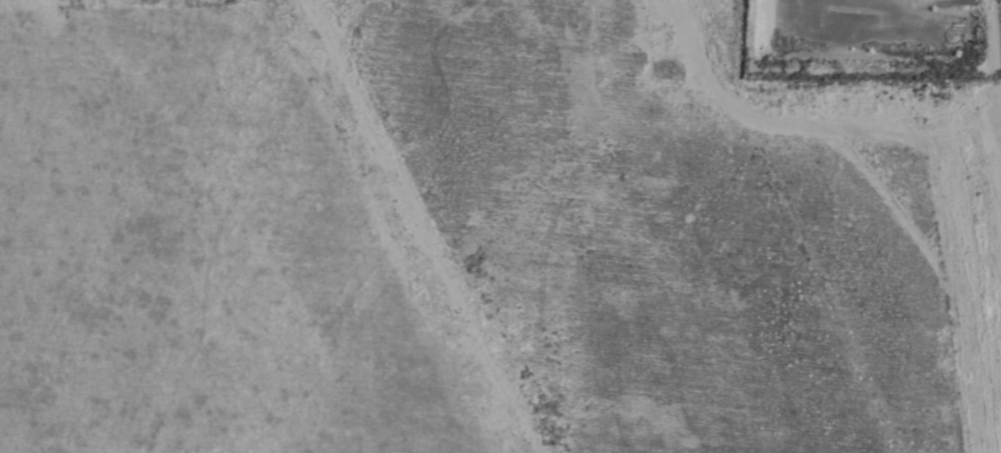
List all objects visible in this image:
crop: (500, 226)

